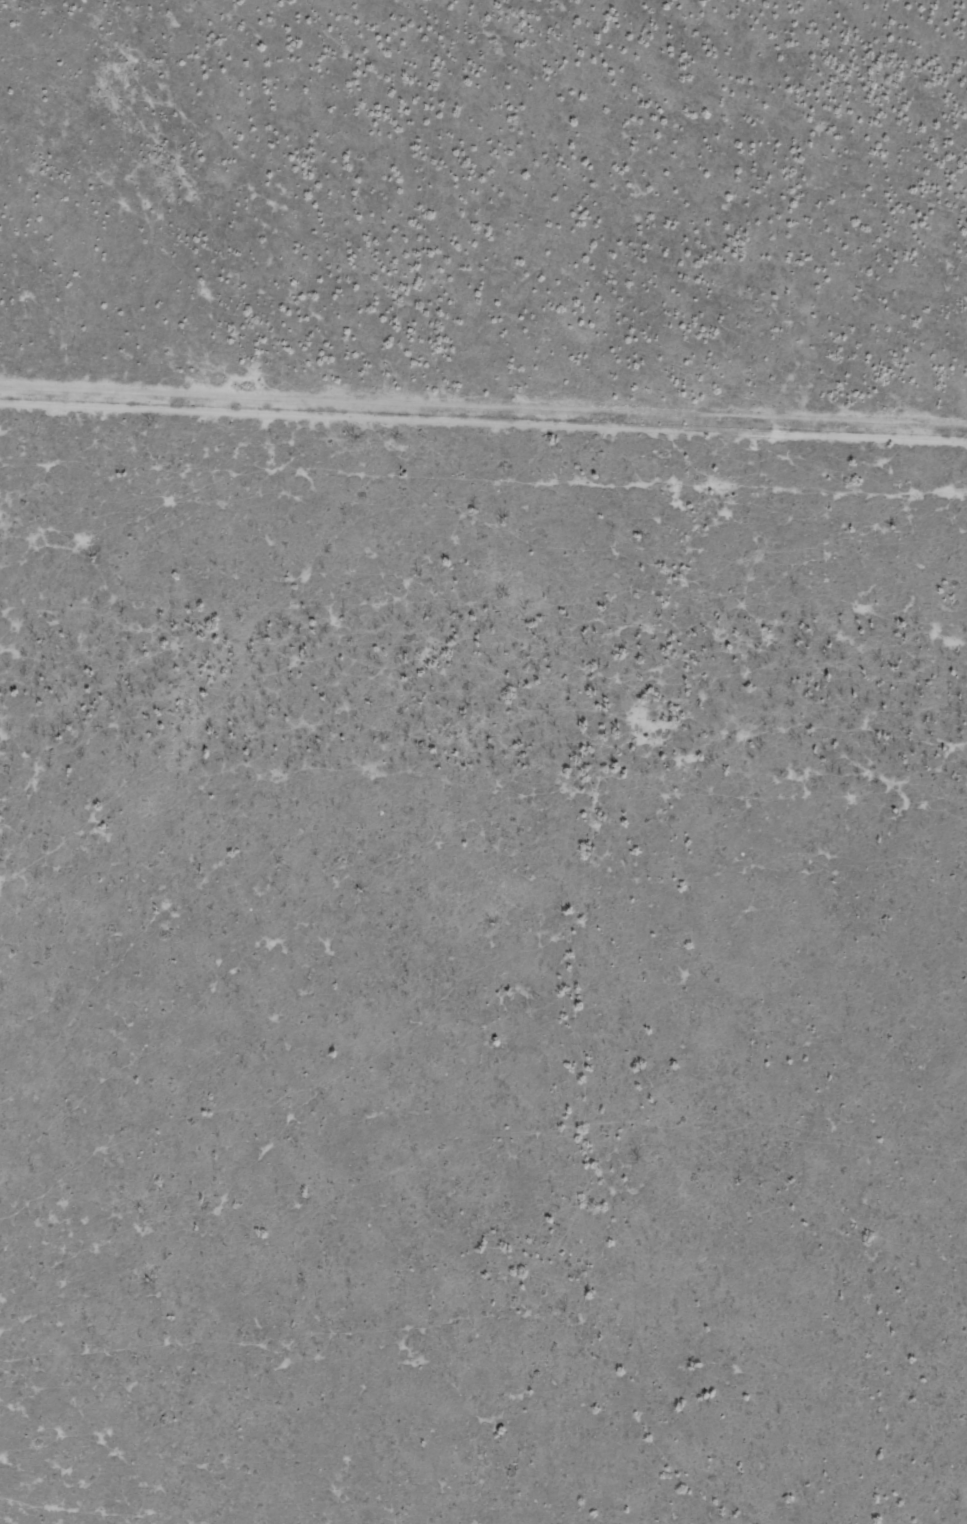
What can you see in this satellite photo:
road: (483, 428)

